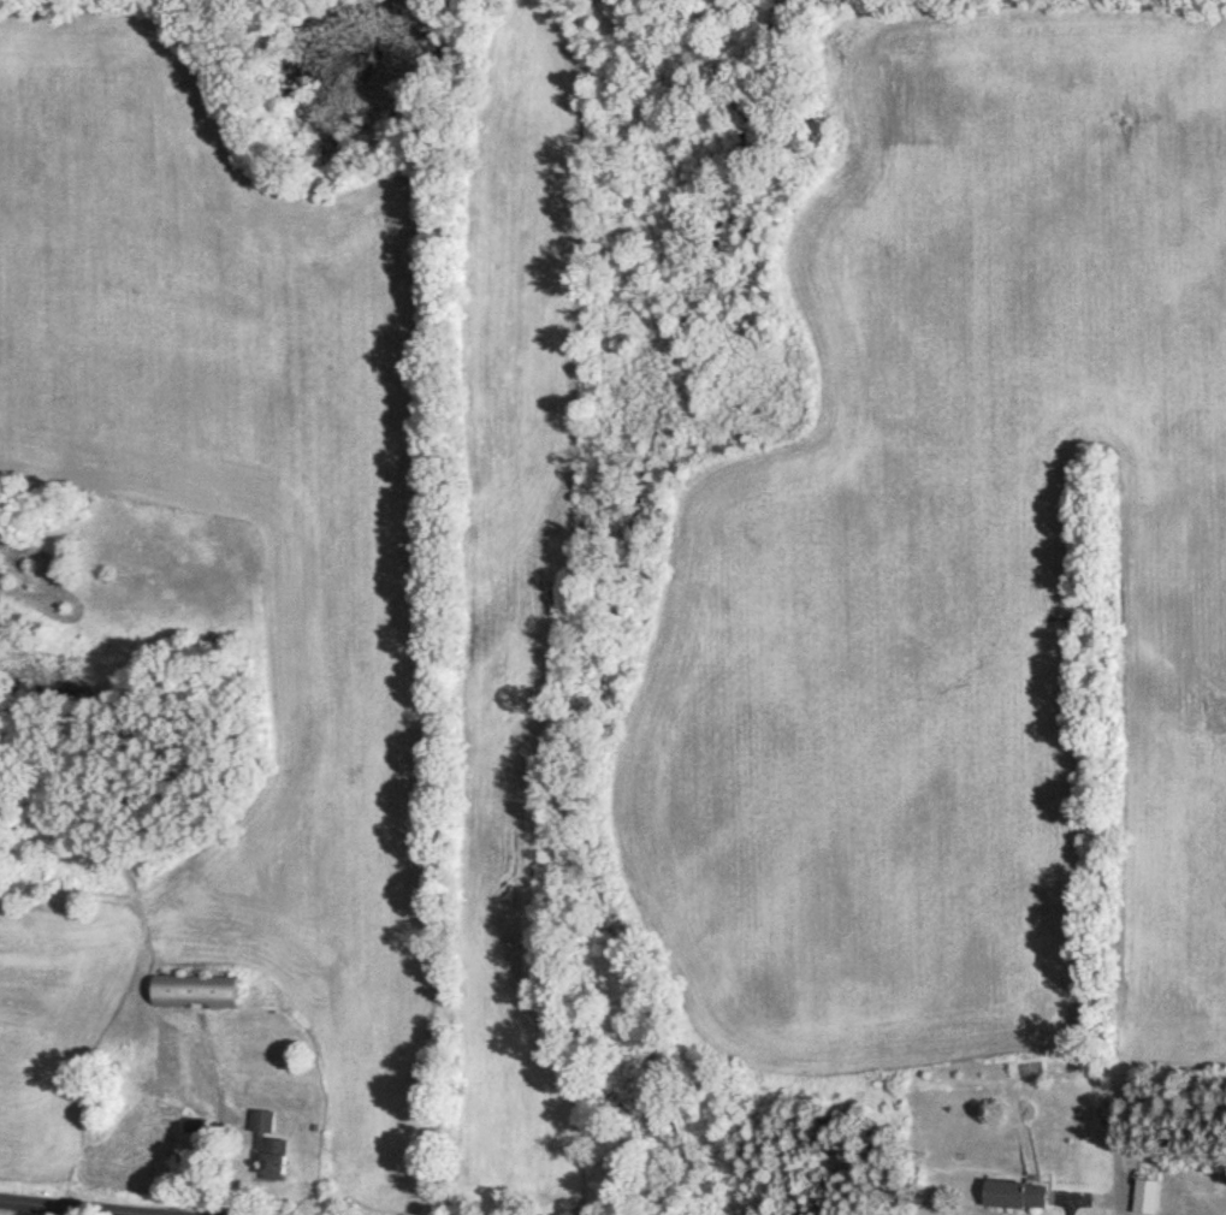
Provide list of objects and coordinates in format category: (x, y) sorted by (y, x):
building: (196, 991)
building: (272, 1145)
building: (1017, 1195)
building: (1147, 1196)
road: (75, 1207)

